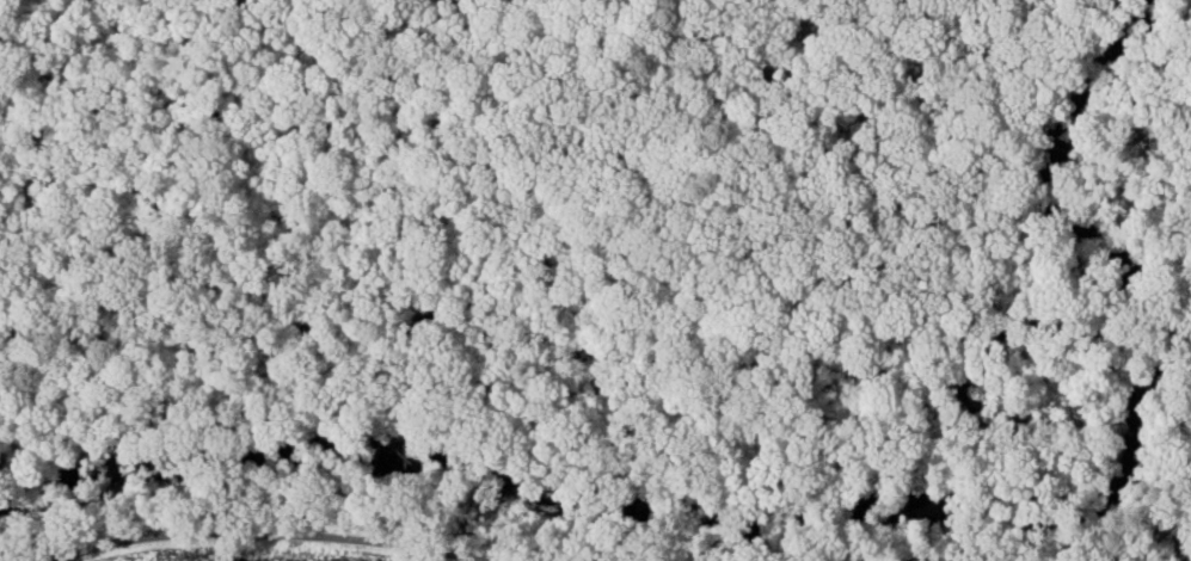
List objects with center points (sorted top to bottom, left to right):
road: (274, 532)
crop: (202, 557)

